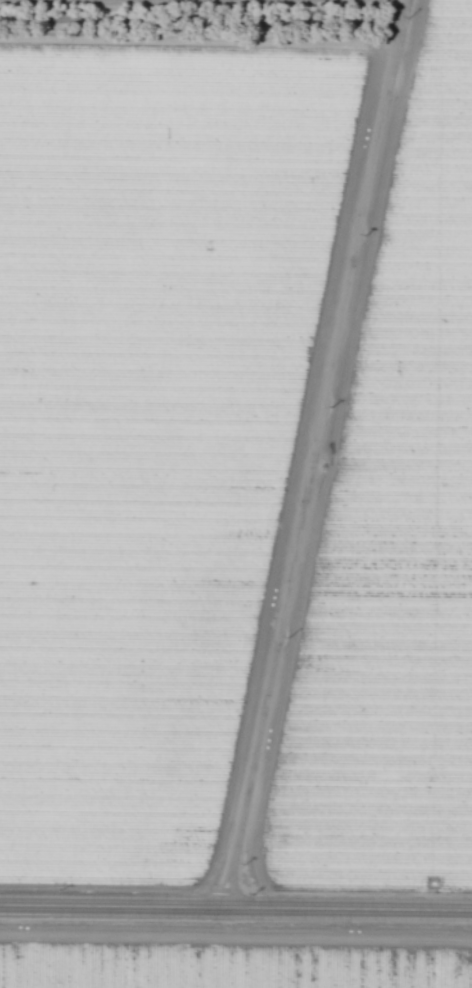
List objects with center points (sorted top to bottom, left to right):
road: (198, 39)
road: (314, 454)
road: (235, 909)

